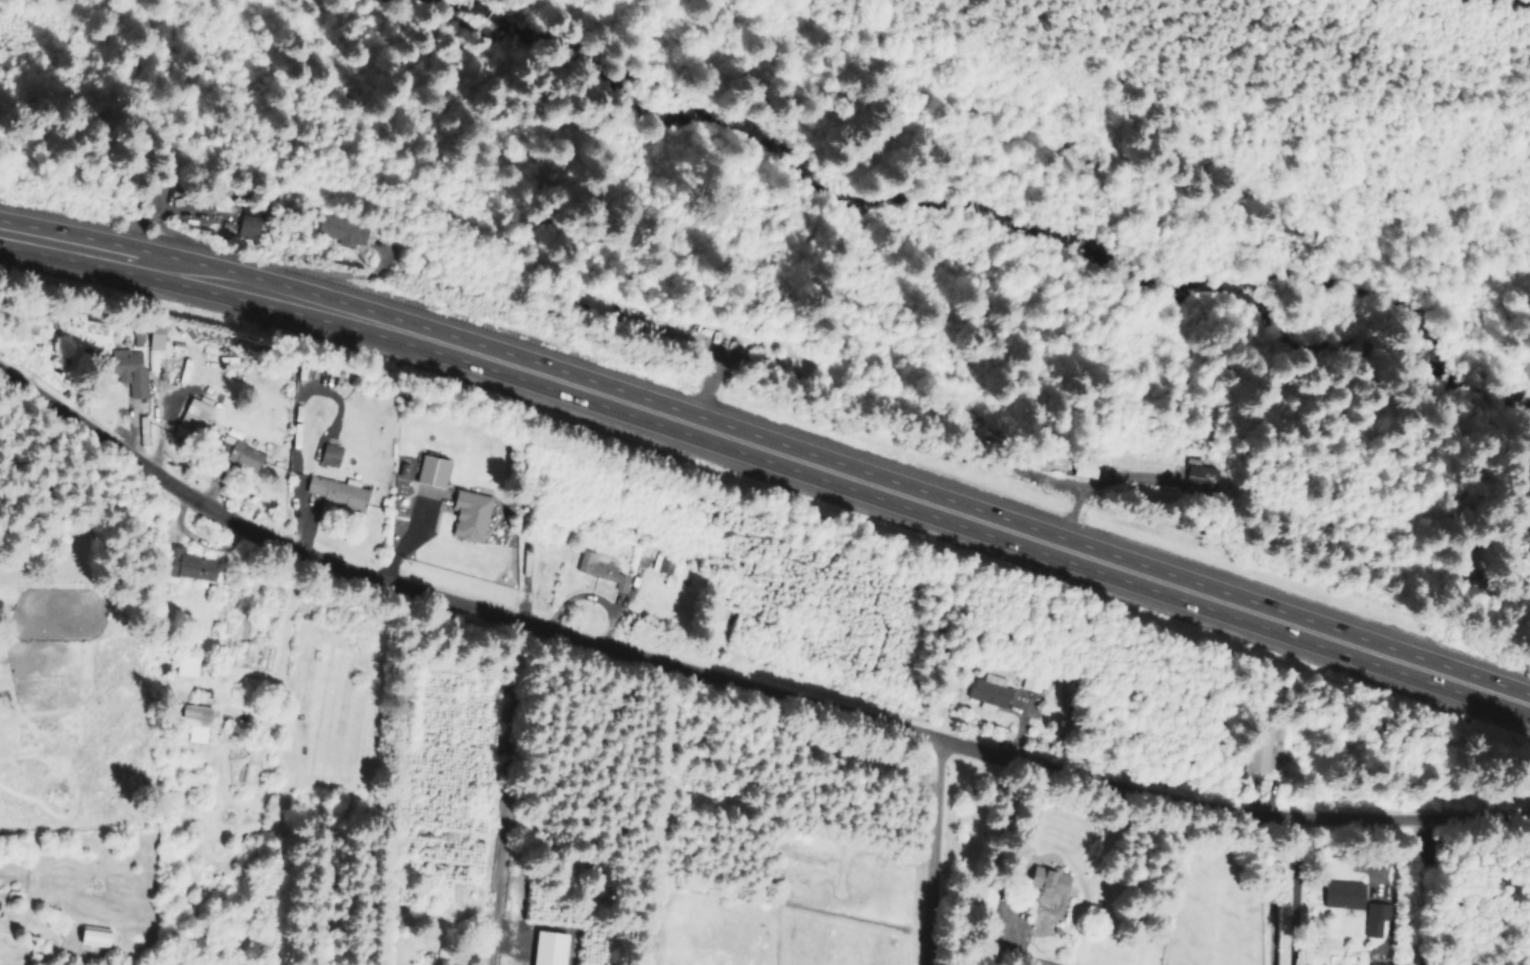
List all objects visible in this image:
building: (249, 221)
building: (342, 234)
road: (90, 253)
building: (144, 364)
road: (706, 386)
building: (192, 424)
building: (240, 457)
building: (1081, 472)
building: (431, 474)
road: (857, 481)
building: (1196, 483)
building: (336, 494)
building: (469, 519)
building: (1521, 538)
building: (189, 569)
building: (665, 570)
building: (601, 572)
road: (593, 597)
road: (737, 683)
building: (1034, 683)
building: (989, 694)
building: (194, 724)
road: (508, 792)
road: (932, 851)
building: (1047, 882)
road: (1295, 890)
road: (1418, 893)
building: (1342, 896)
building: (981, 904)
building: (1046, 919)
building: (92, 937)
building: (984, 957)
building: (1037, 963)

